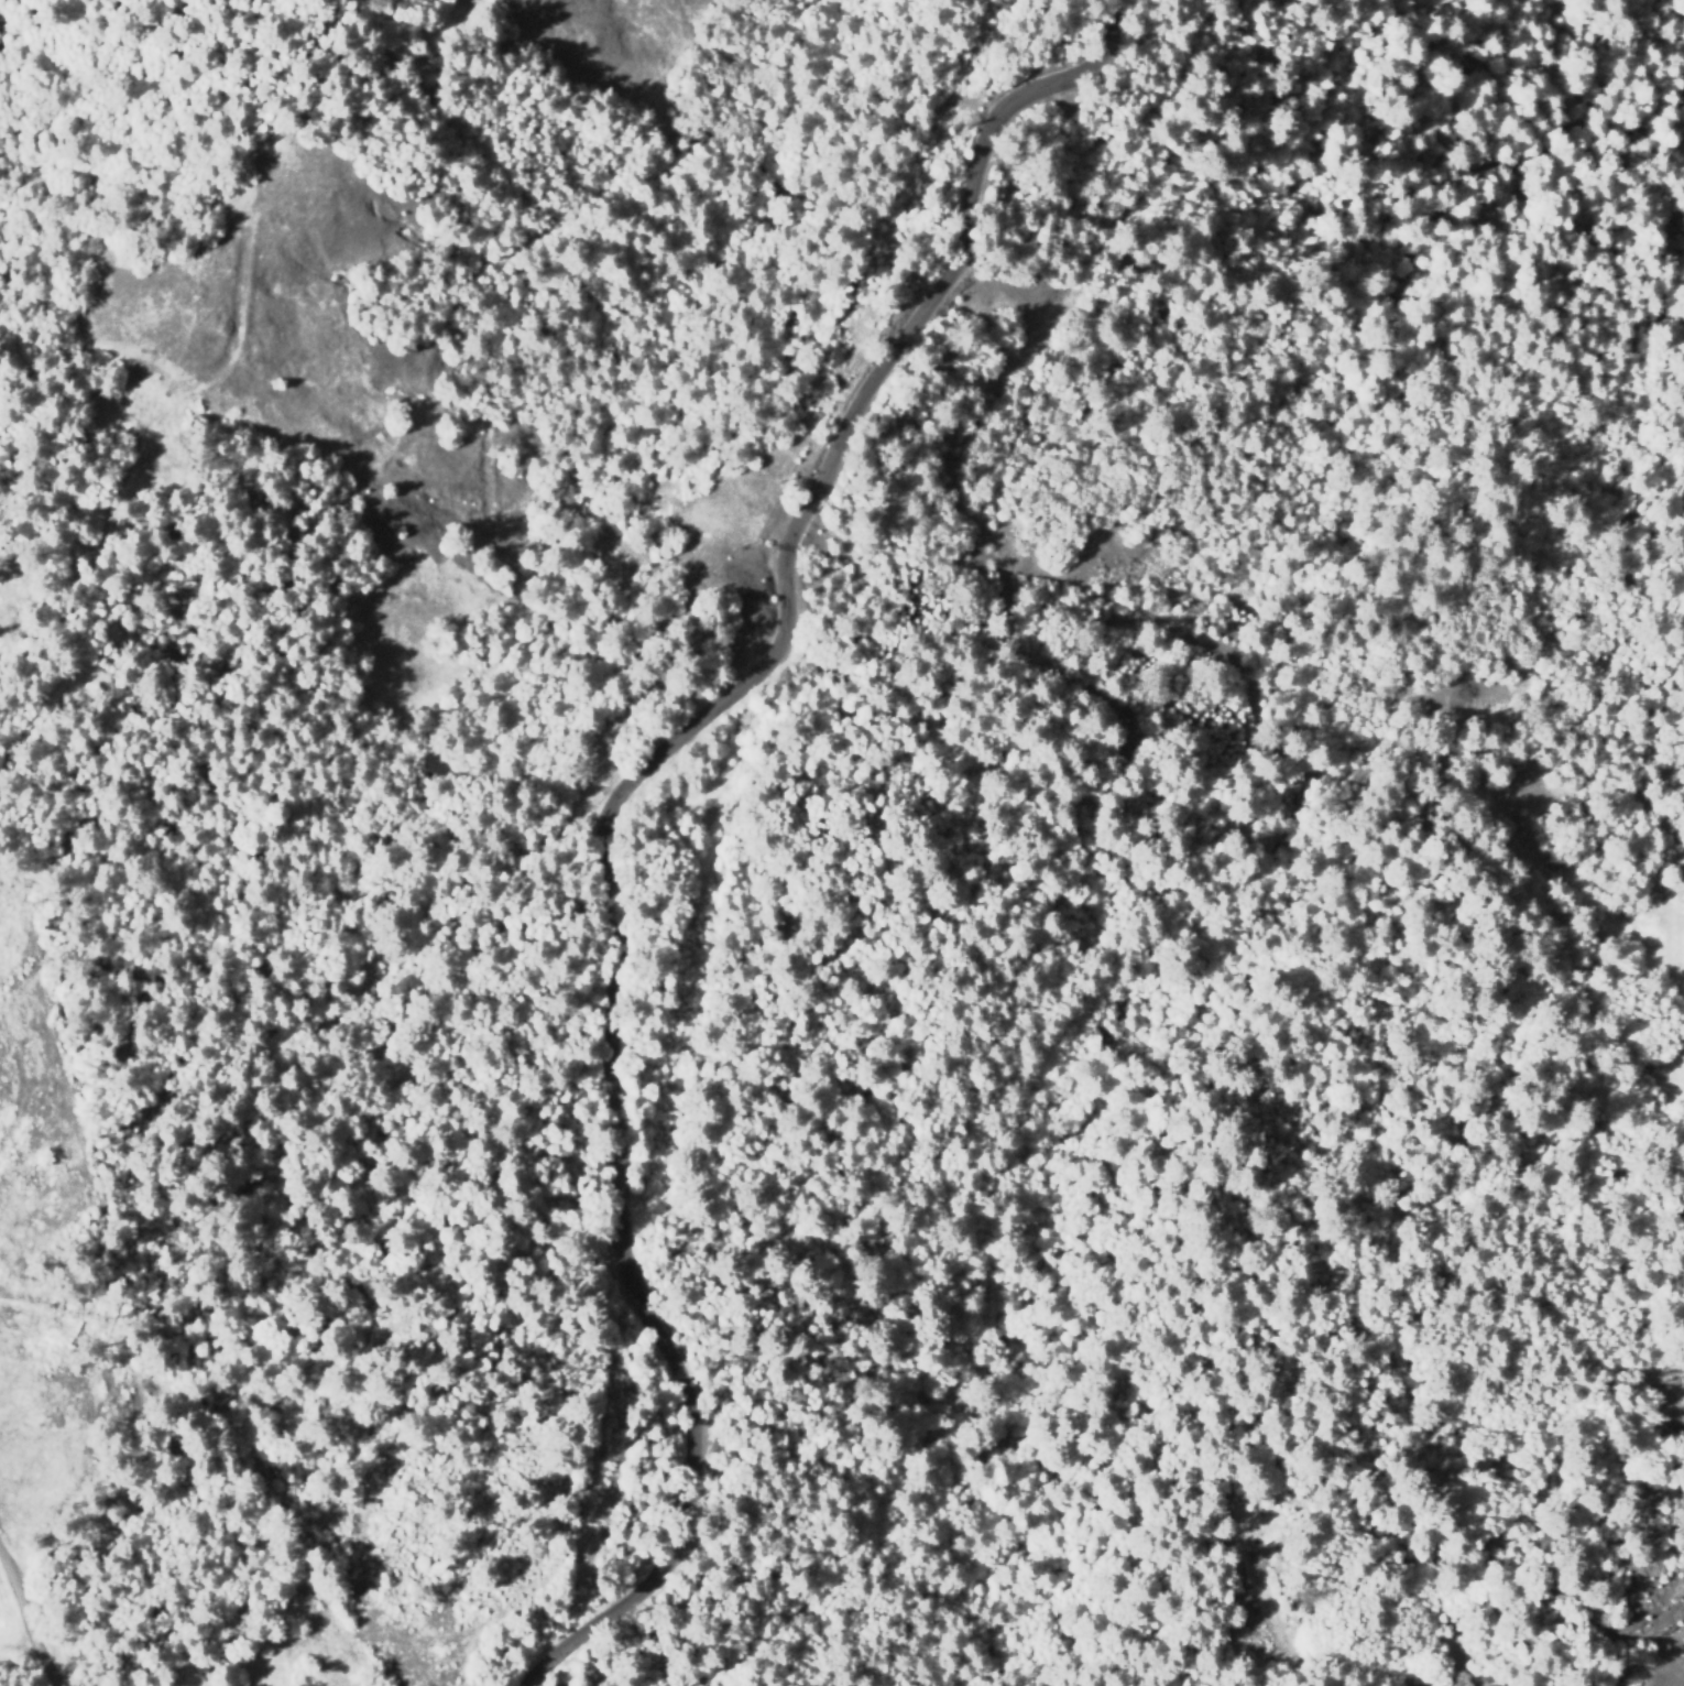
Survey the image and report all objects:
road: (211, 356)
road: (624, 793)
road: (32, 1617)

